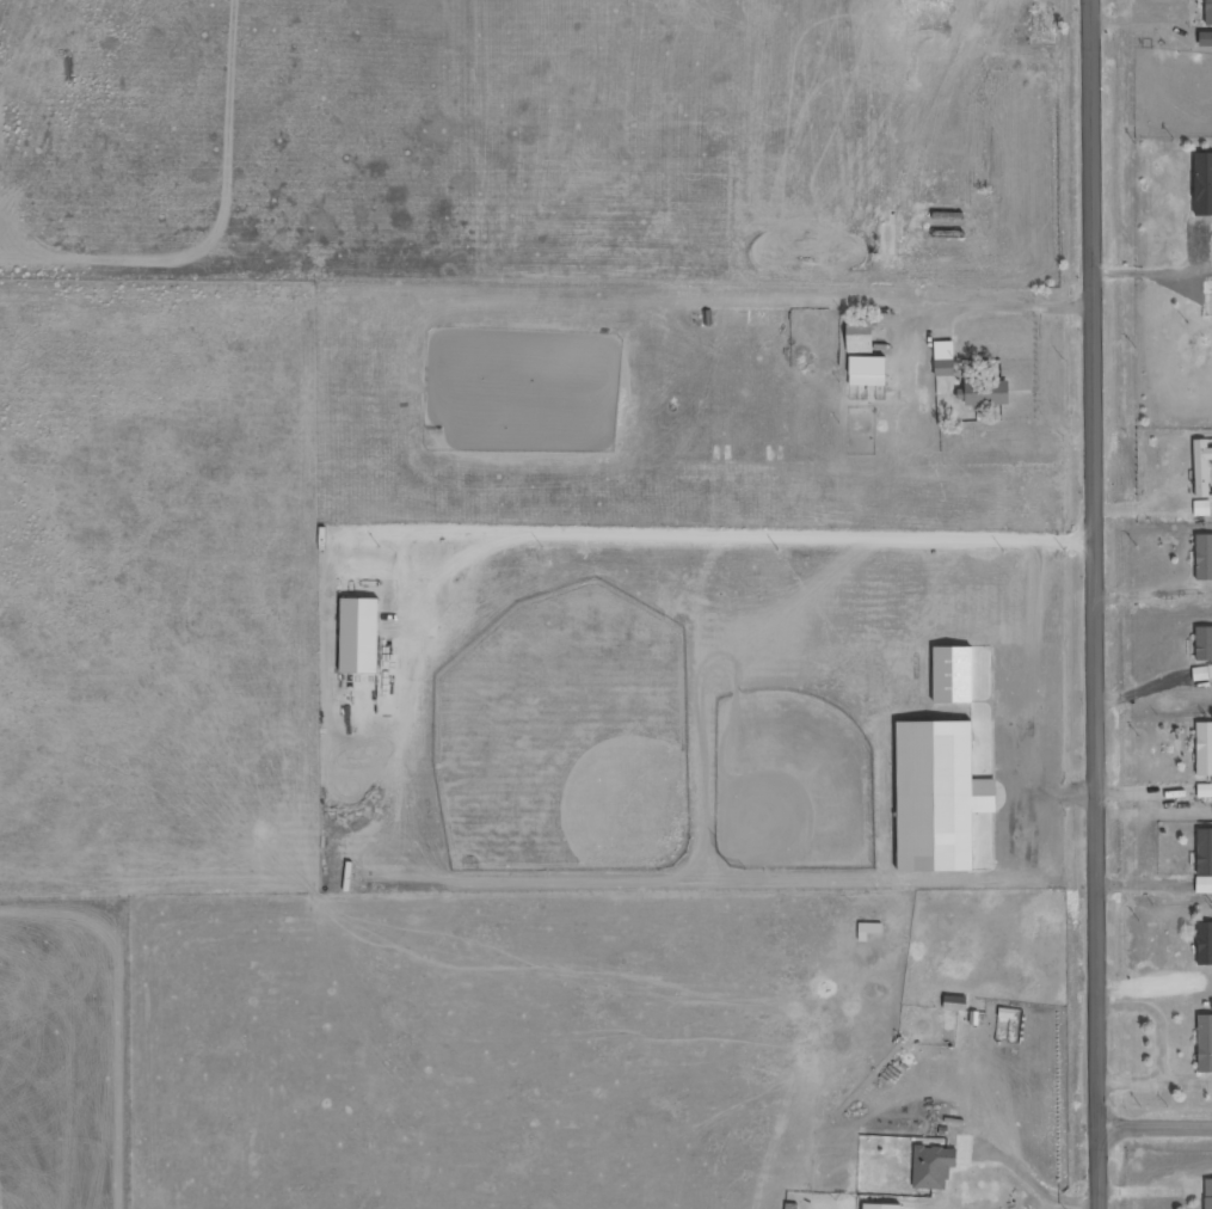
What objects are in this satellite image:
building: (1210, 12)
building: (1204, 183)
building: (861, 342)
building: (946, 358)
building: (869, 370)
building: (988, 392)
building: (1204, 467)
building: (1202, 508)
building: (1205, 557)
road: (1095, 603)
building: (362, 636)
building: (1204, 643)
building: (1202, 673)
building: (956, 674)
building: (1205, 749)
building: (1205, 790)
building: (942, 796)
building: (1205, 860)
building: (869, 929)
building: (1205, 943)
building: (1206, 1043)
road: (1156, 1124)
building: (934, 1167)
building: (1208, 1193)
building: (885, 1207)

